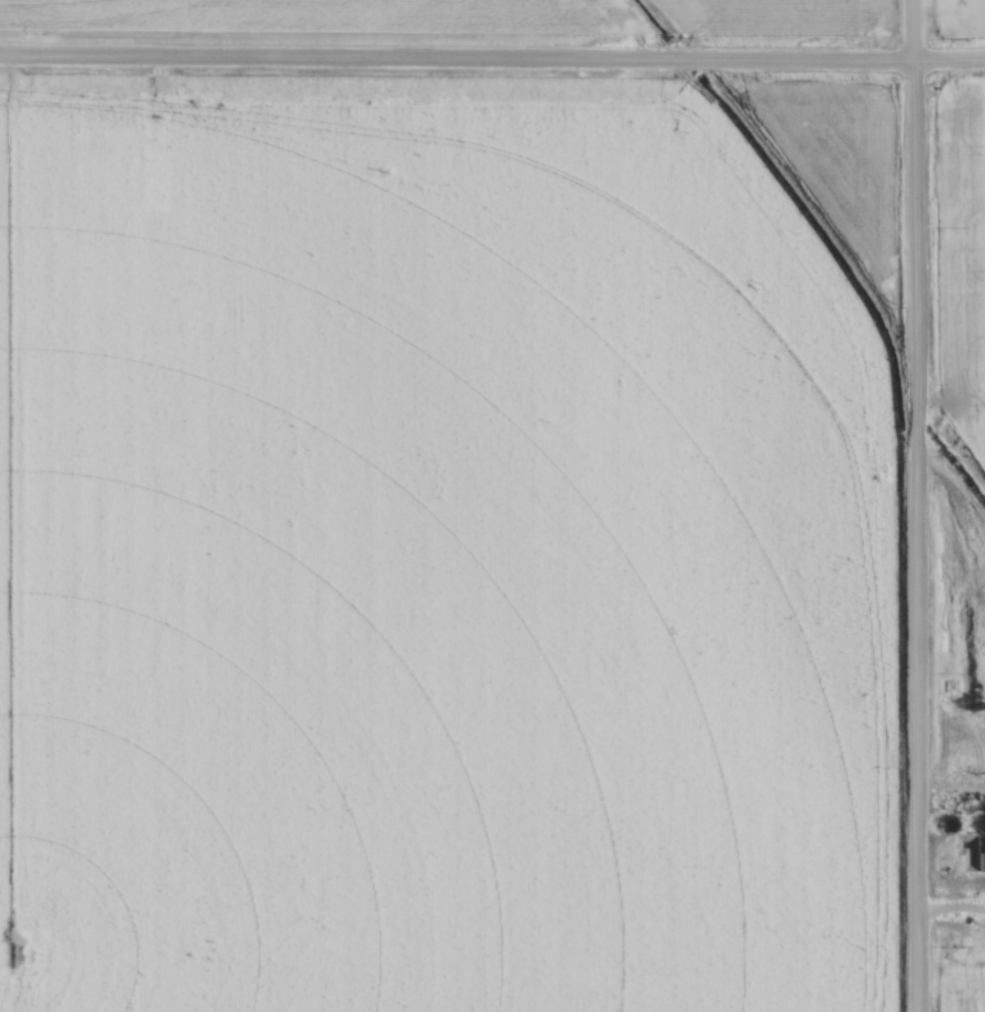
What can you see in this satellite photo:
crop: (330, 16)
crop: (783, 16)
crop: (958, 17)
road: (492, 60)
crop: (975, 267)
road: (958, 497)
road: (916, 505)
crop: (444, 545)
road: (950, 791)
building: (971, 851)
road: (950, 913)
crop: (967, 1009)

